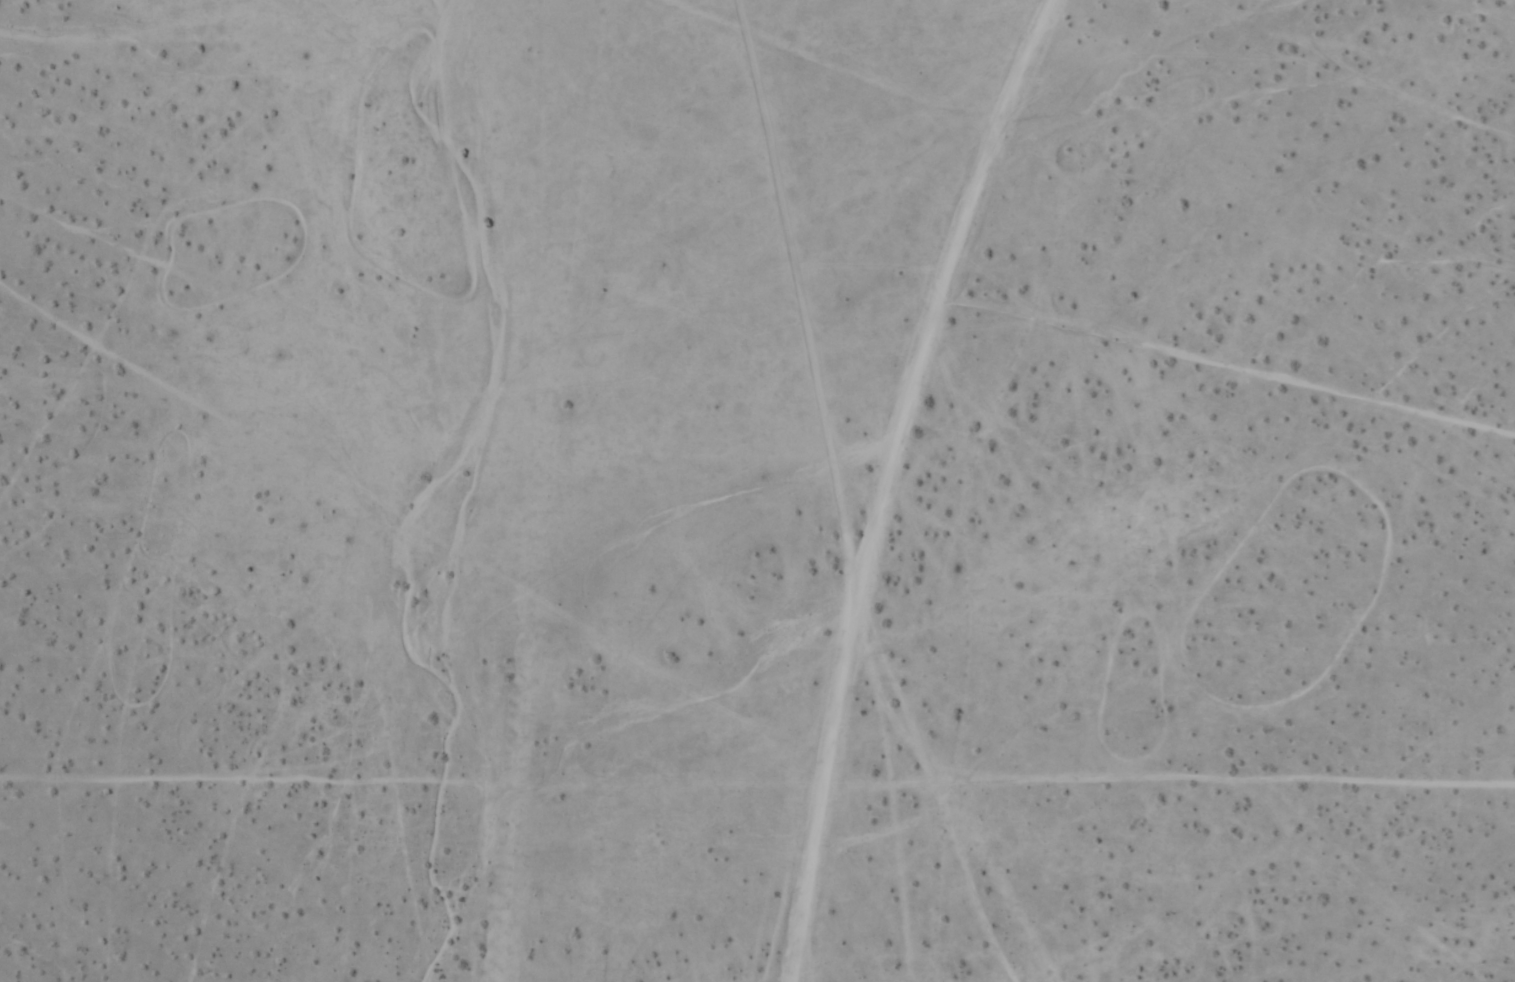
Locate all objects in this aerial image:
road: (831, 70)
road: (1215, 367)
road: (889, 480)
crop: (757, 491)

